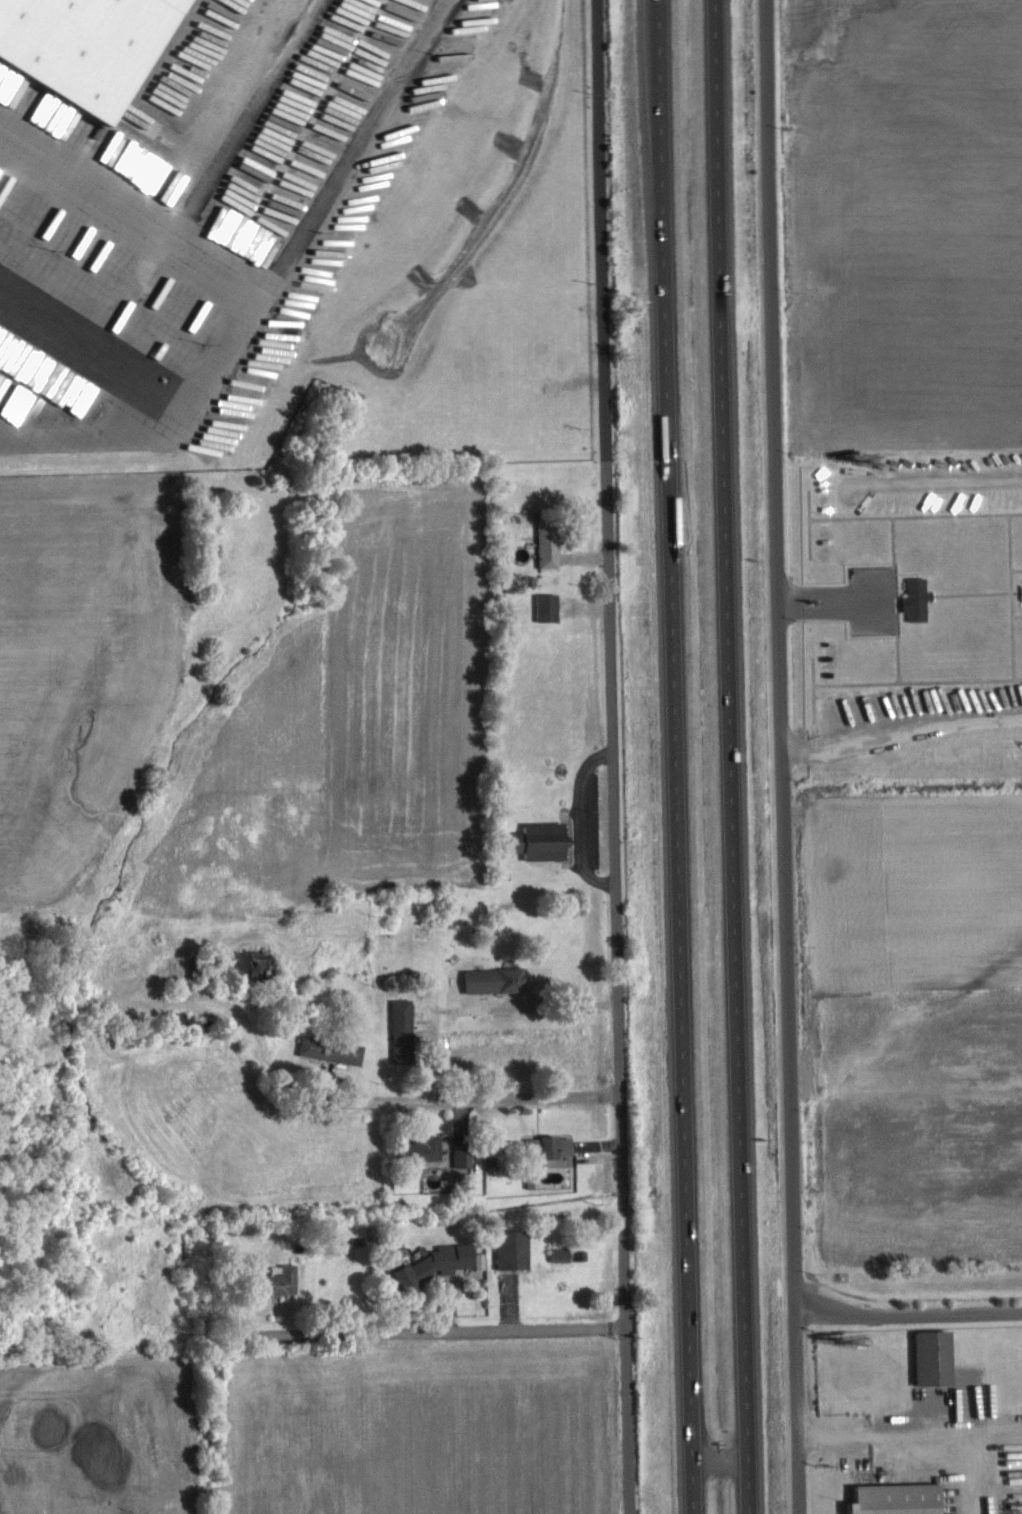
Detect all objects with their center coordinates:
building: (86, 39)
building: (552, 543)
building: (920, 599)
road: (829, 600)
building: (551, 607)
road: (614, 757)
road: (676, 757)
road: (730, 757)
road: (782, 757)
building: (545, 840)
building: (256, 964)
building: (498, 979)
building: (406, 1030)
building: (335, 1049)
road: (401, 1098)
building: (537, 1143)
building: (561, 1146)
building: (425, 1148)
building: (467, 1156)
building: (516, 1250)
building: (563, 1254)
building: (440, 1264)
building: (285, 1281)
road: (908, 1315)
road: (456, 1331)
building: (938, 1357)
road: (885, 1451)
road: (720, 1463)
building: (901, 1499)

